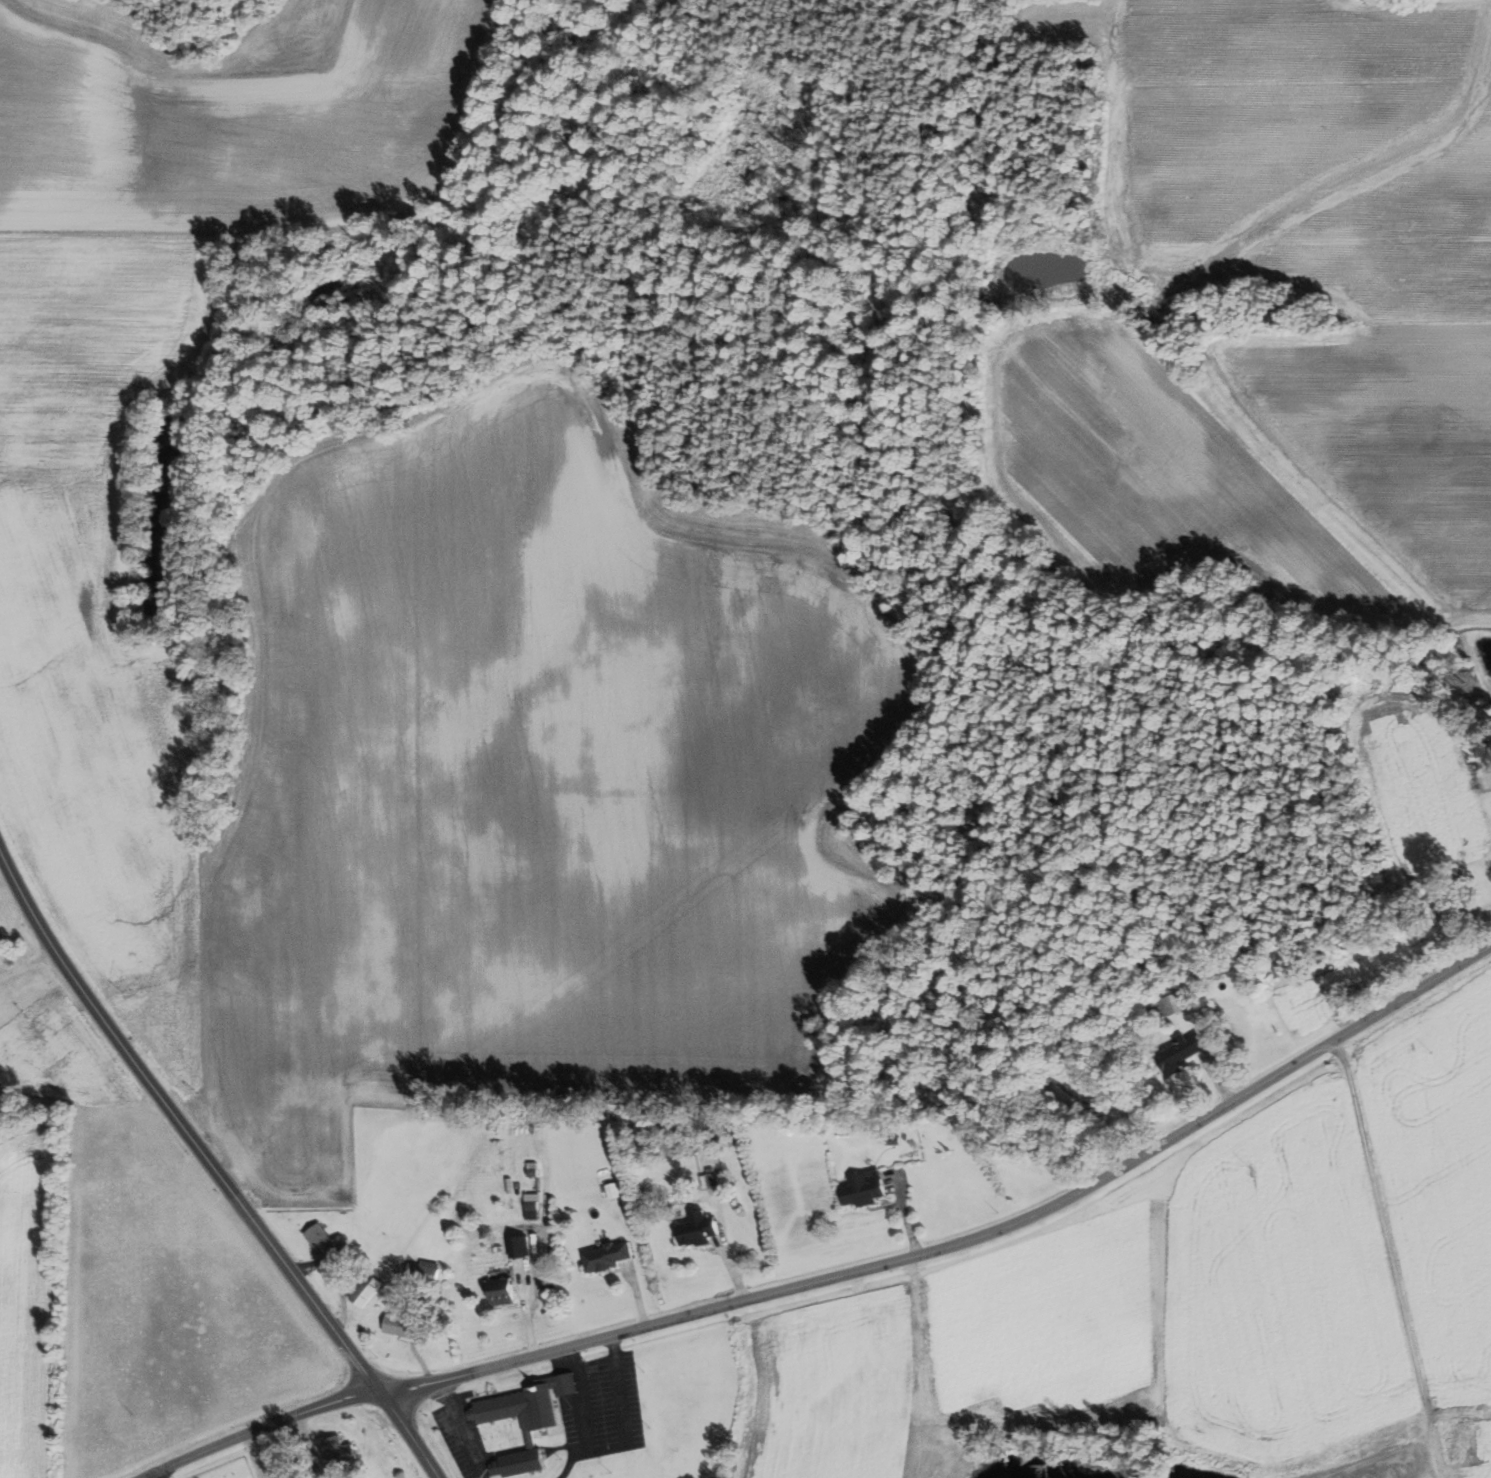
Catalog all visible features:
building: (1184, 1053)
road: (214, 1168)
building: (866, 1188)
building: (614, 1190)
crop: (1439, 1190)
building: (533, 1209)
building: (700, 1229)
building: (327, 1242)
building: (521, 1247)
building: (610, 1256)
road: (1388, 1258)
building: (425, 1271)
road: (842, 1275)
crop: (156, 1277)
building: (368, 1290)
building: (502, 1291)
crop: (25, 1301)
building: (403, 1326)
crop: (1123, 1329)
road: (579, 1399)
parking lot: (599, 1400)
building: (528, 1418)
road: (463, 1429)
road: (626, 1430)
parking lot: (460, 1431)
park: (1456, 1438)
road: (308, 1442)
building: (335, 1454)
road: (254, 1455)
road: (154, 1475)

